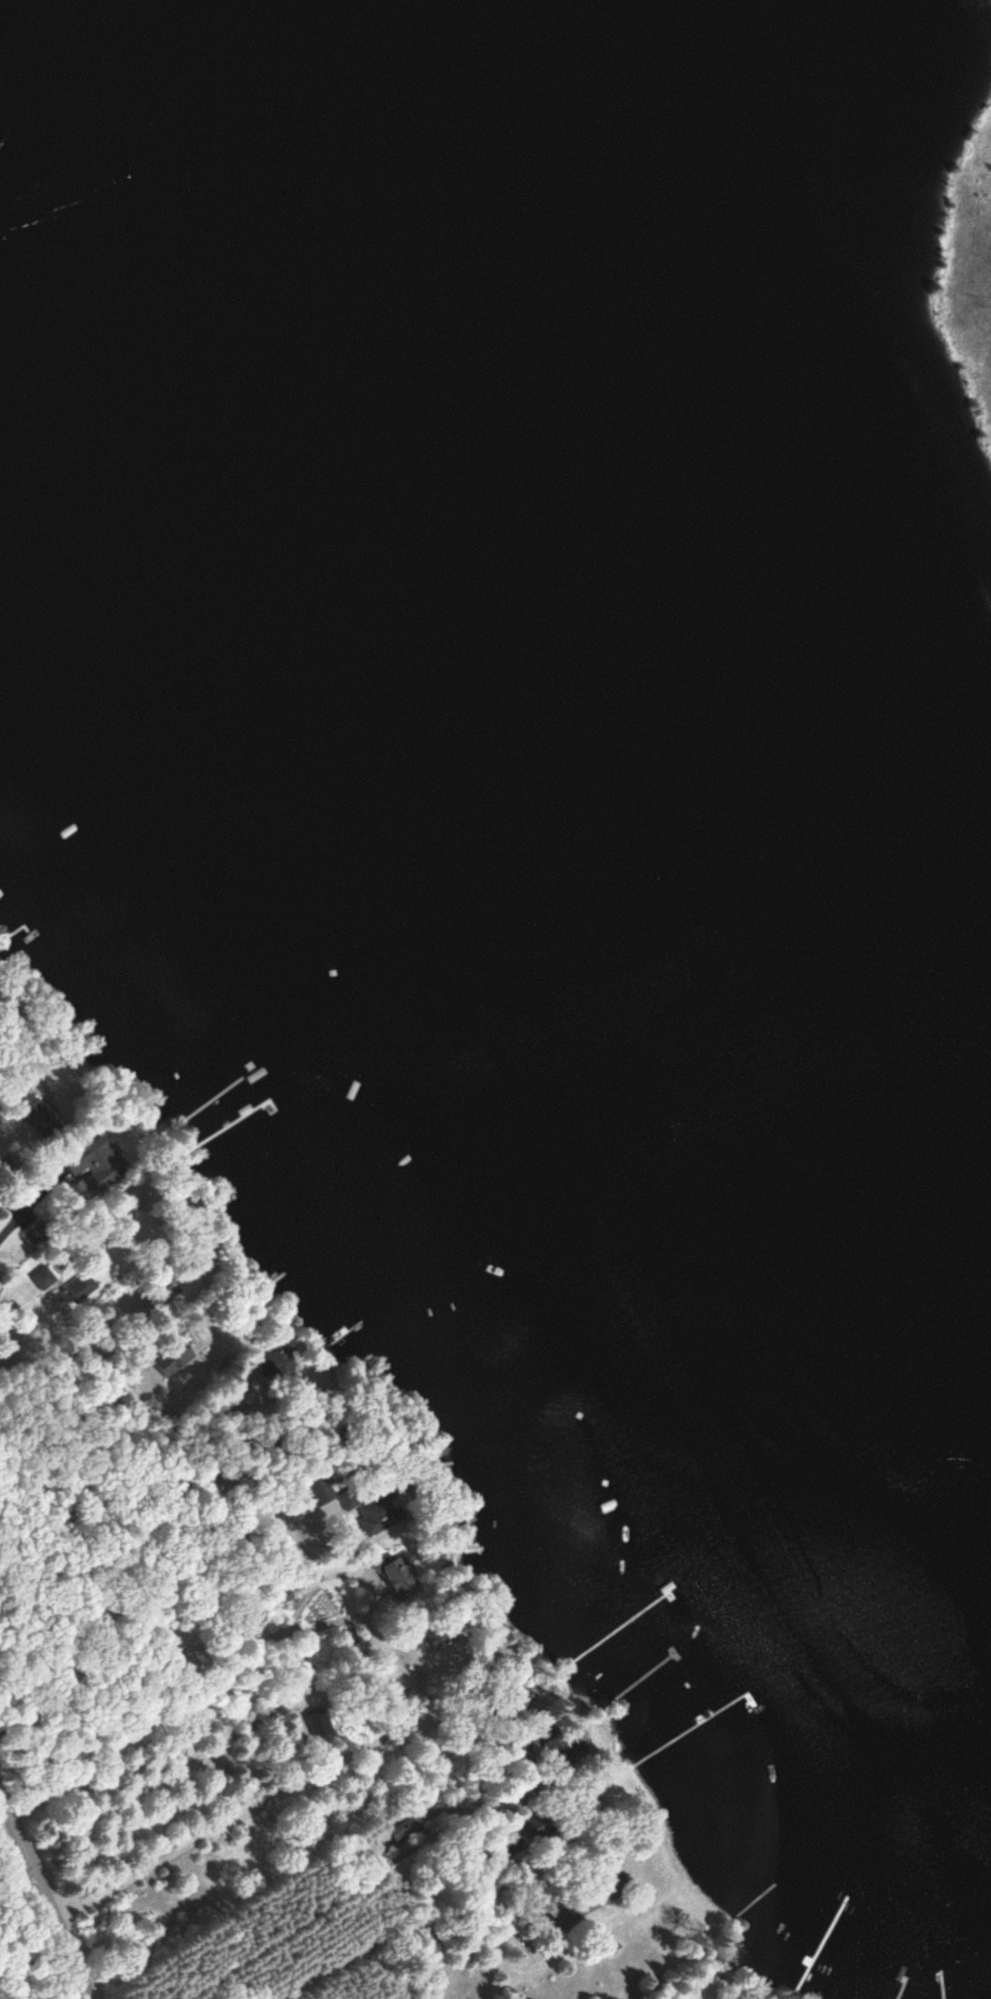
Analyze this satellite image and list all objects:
building: (38, 1114)
building: (96, 1165)
building: (36, 1233)
building: (44, 1278)
building: (81, 1288)
building: (156, 1294)
building: (172, 1359)
building: (277, 1363)
building: (381, 1509)
building: (401, 1577)
road: (372, 1580)
building: (439, 1635)
road: (124, 1659)
building: (318, 1724)
building: (565, 1749)
road: (201, 1761)
building: (538, 1824)
building: (405, 1826)
road: (220, 1832)
road: (44, 1897)
road: (446, 1919)
road: (518, 1978)

